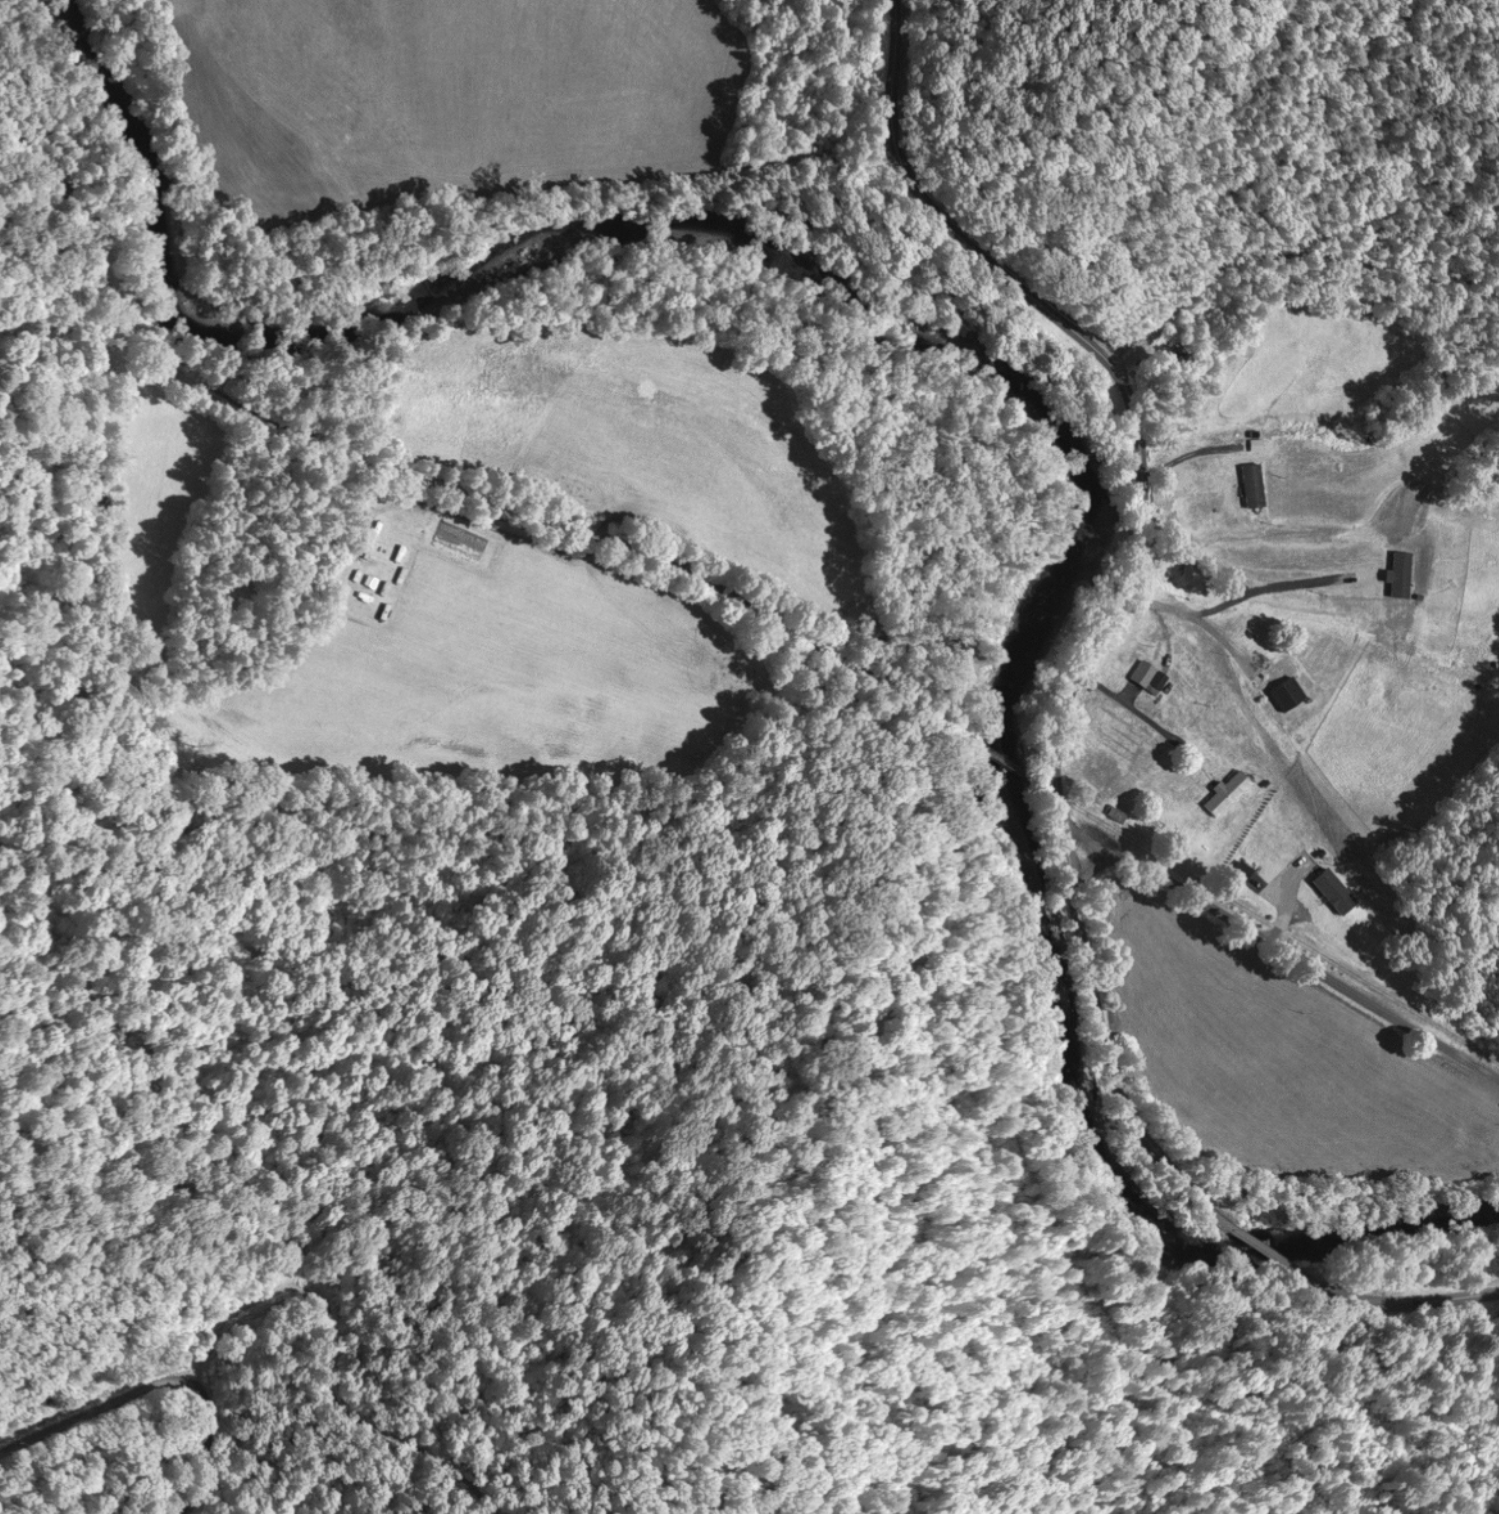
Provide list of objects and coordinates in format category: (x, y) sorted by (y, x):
crop: (441, 97)
road: (1182, 455)
building: (1254, 482)
road: (1126, 593)
road: (1198, 614)
building: (1149, 674)
building: (1285, 687)
road: (1123, 697)
building: (1229, 789)
road: (1084, 834)
road: (1090, 867)
building: (1290, 873)
building: (1330, 900)
road: (1305, 963)
road: (1265, 1251)
road: (1398, 1300)
road: (191, 1368)

